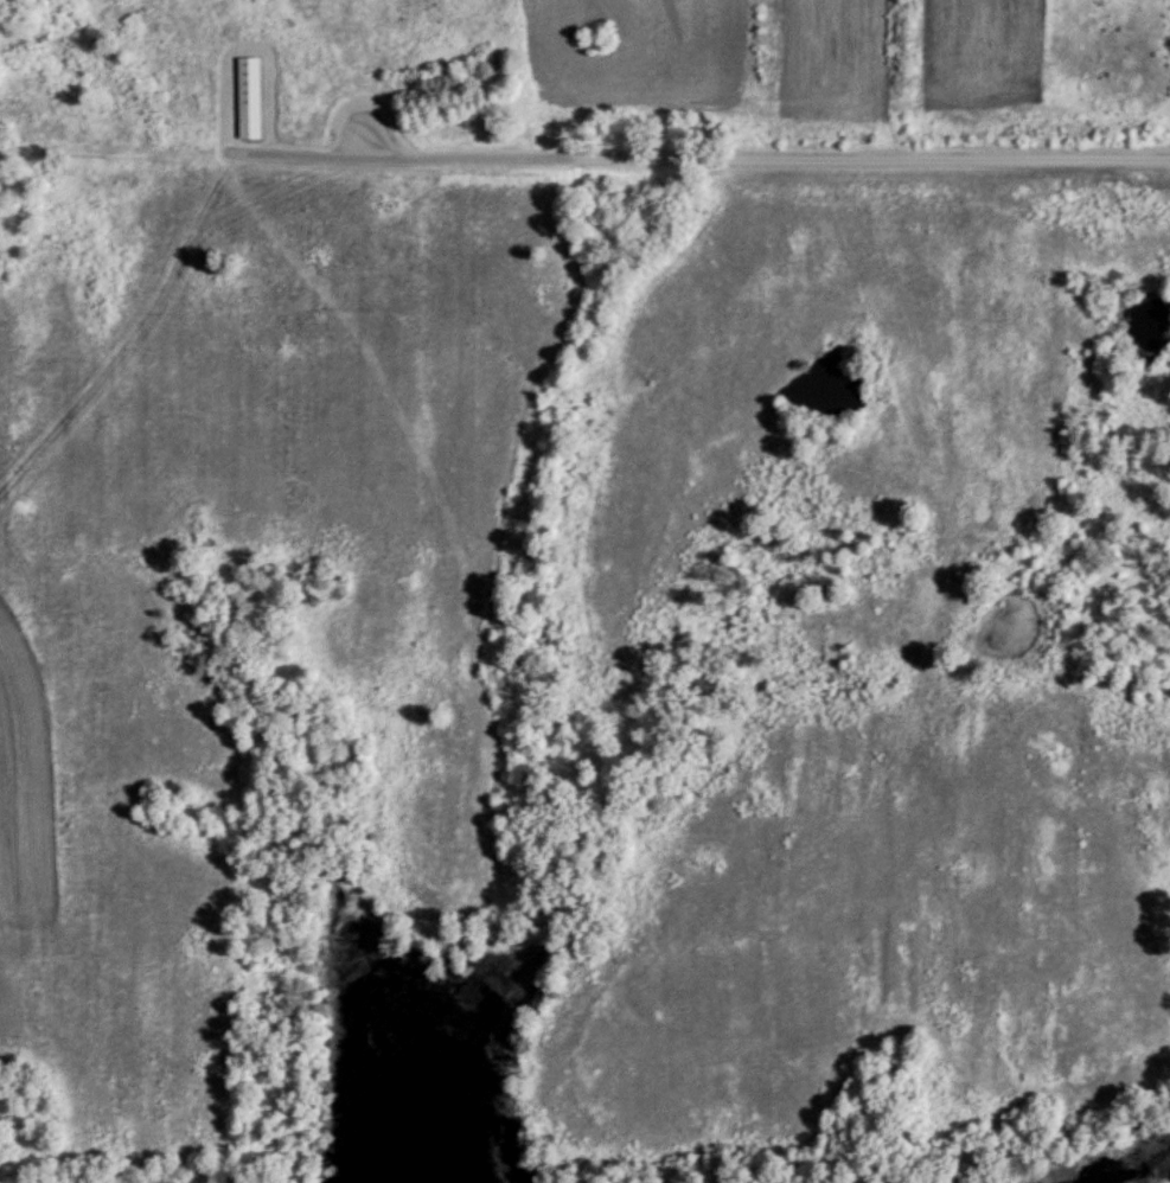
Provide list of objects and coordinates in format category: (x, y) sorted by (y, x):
building: (250, 97)
road: (709, 156)

